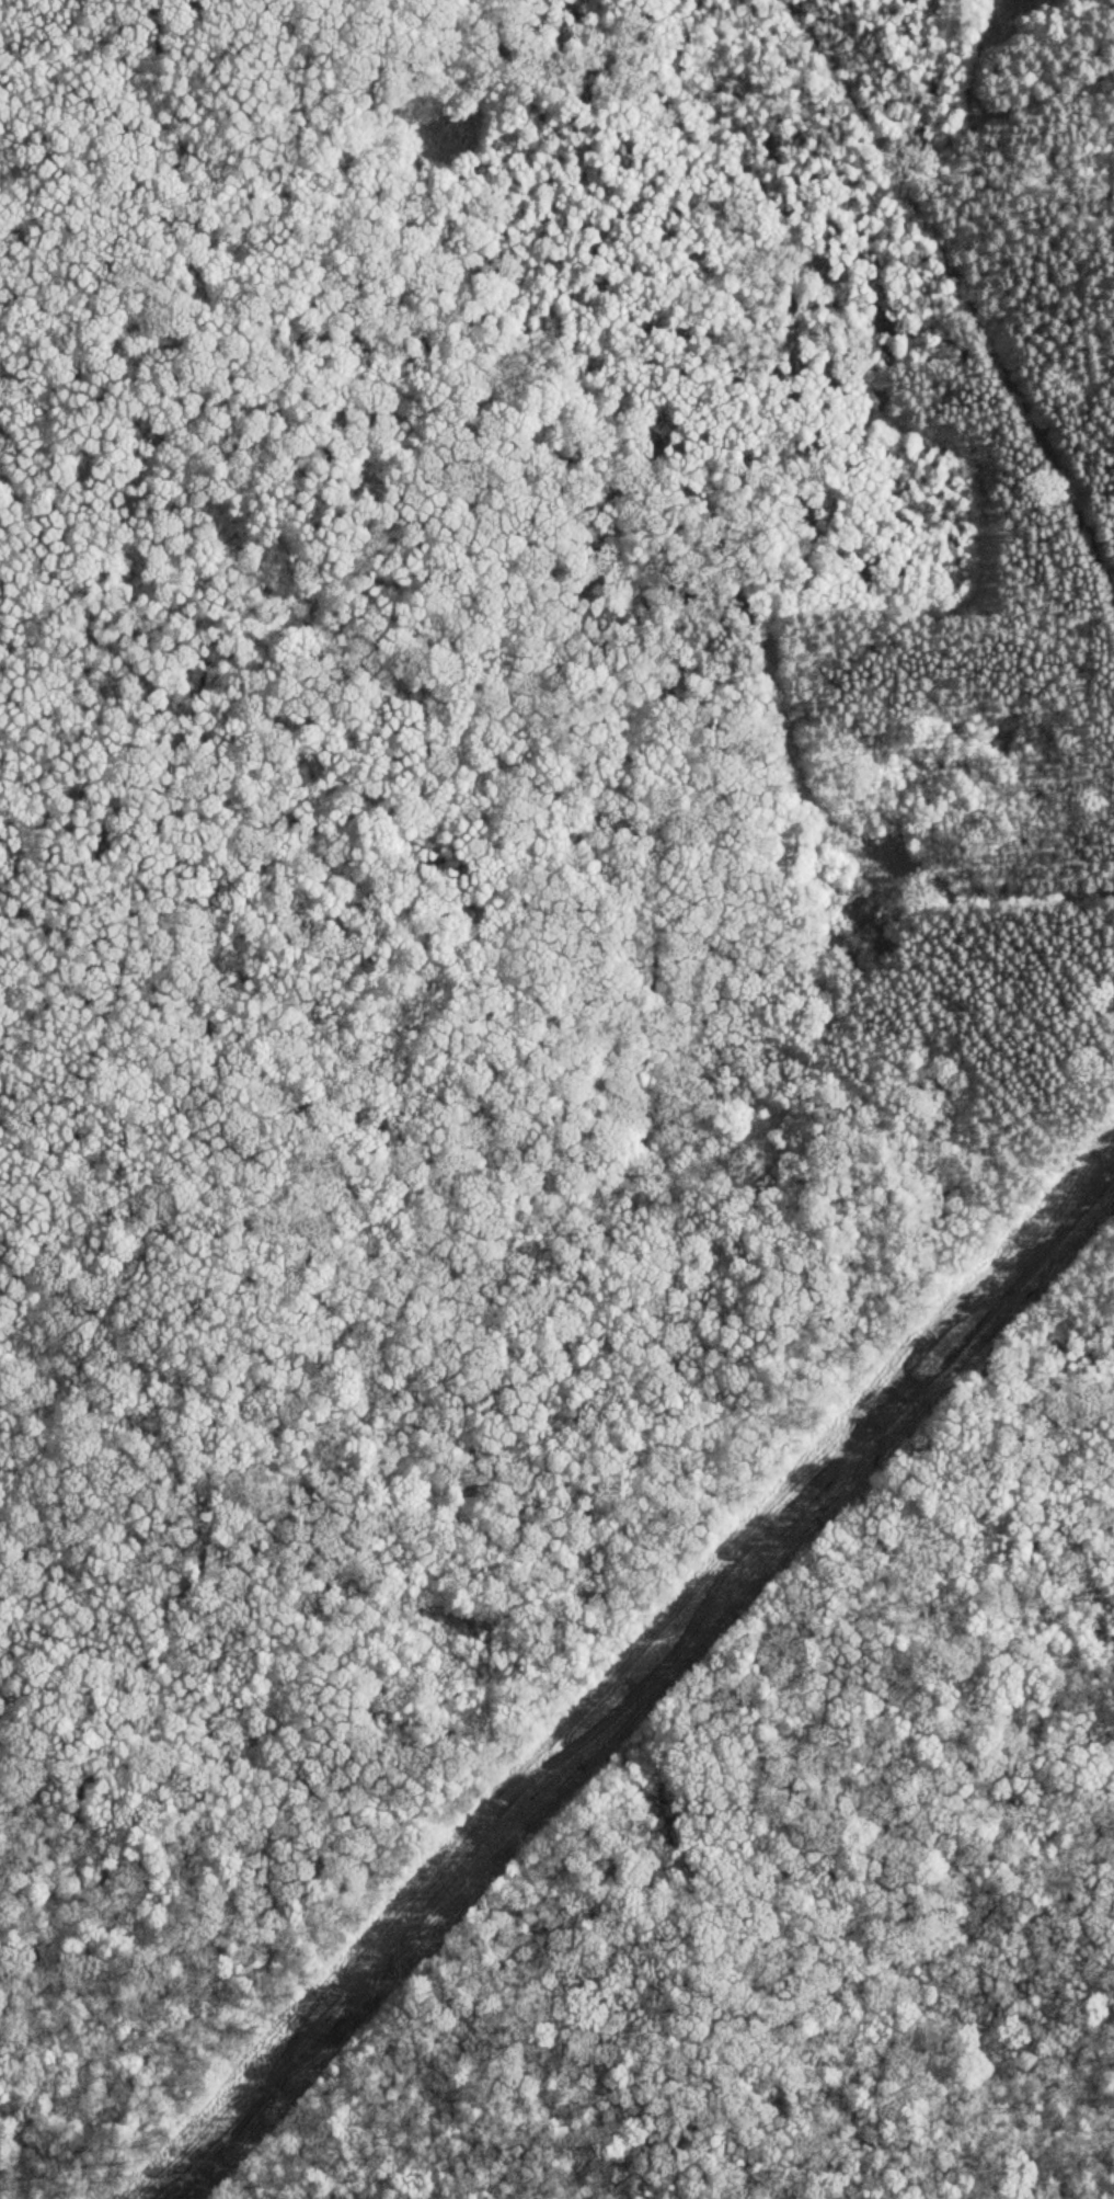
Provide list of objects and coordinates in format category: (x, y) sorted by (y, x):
road: (961, 292)
park: (556, 1099)

